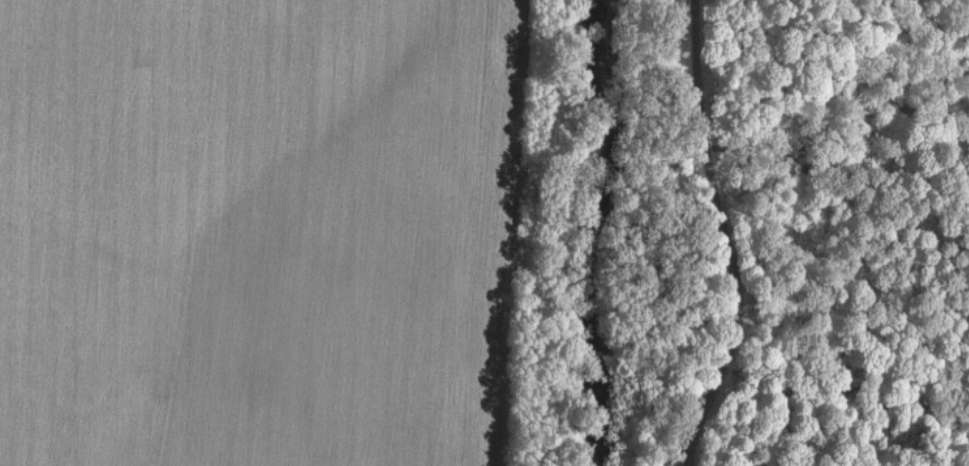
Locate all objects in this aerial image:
road: (702, 232)
river: (640, 234)

